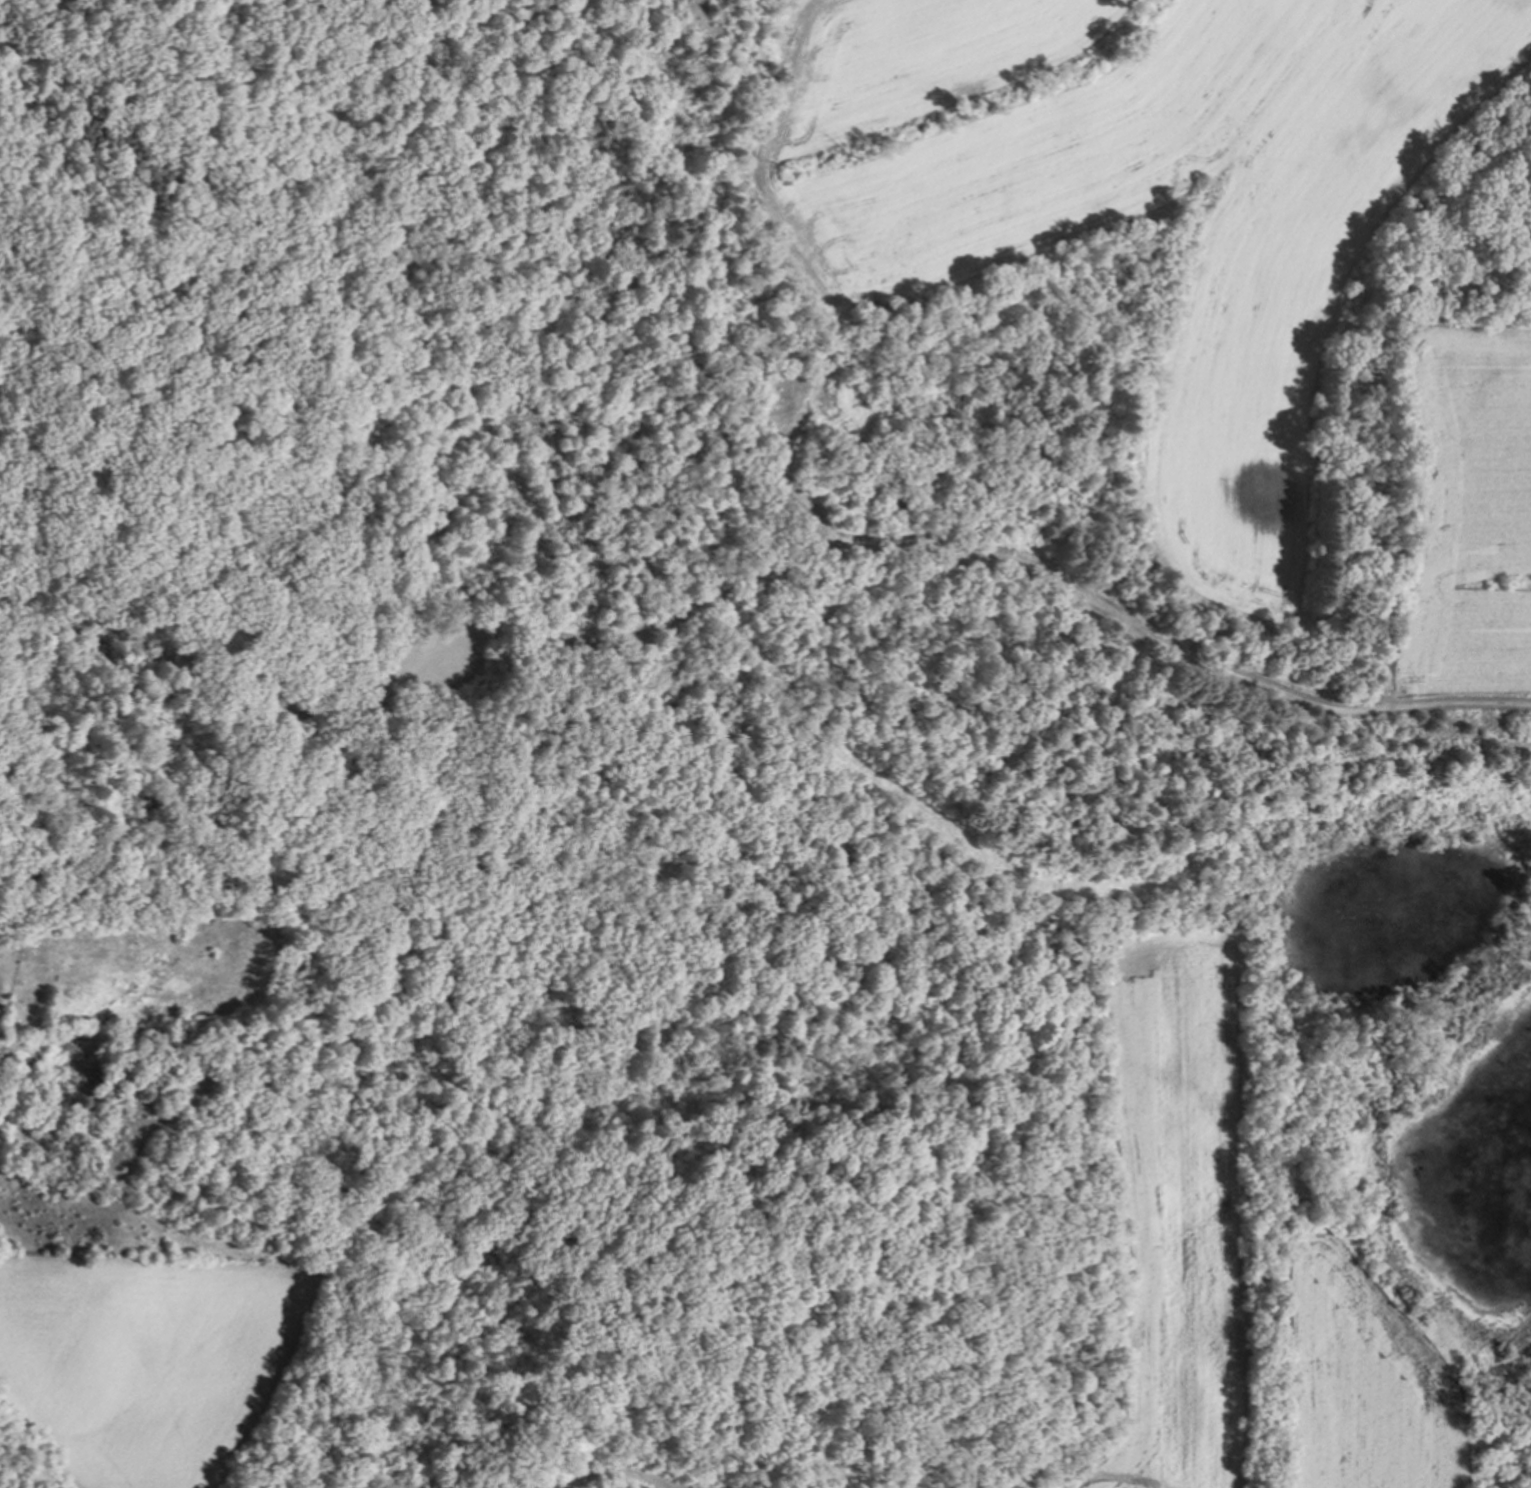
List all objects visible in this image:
road: (756, 561)

